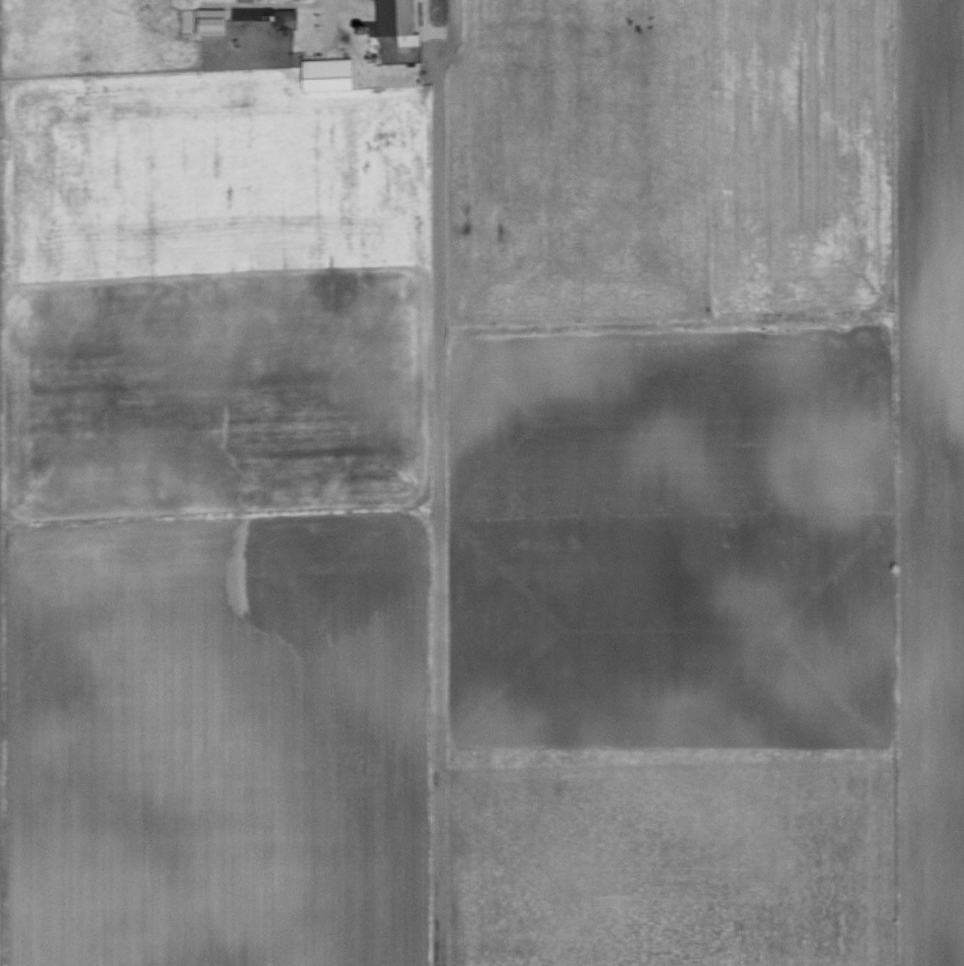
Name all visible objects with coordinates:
road: (257, 4)
building: (400, 17)
building: (329, 73)

